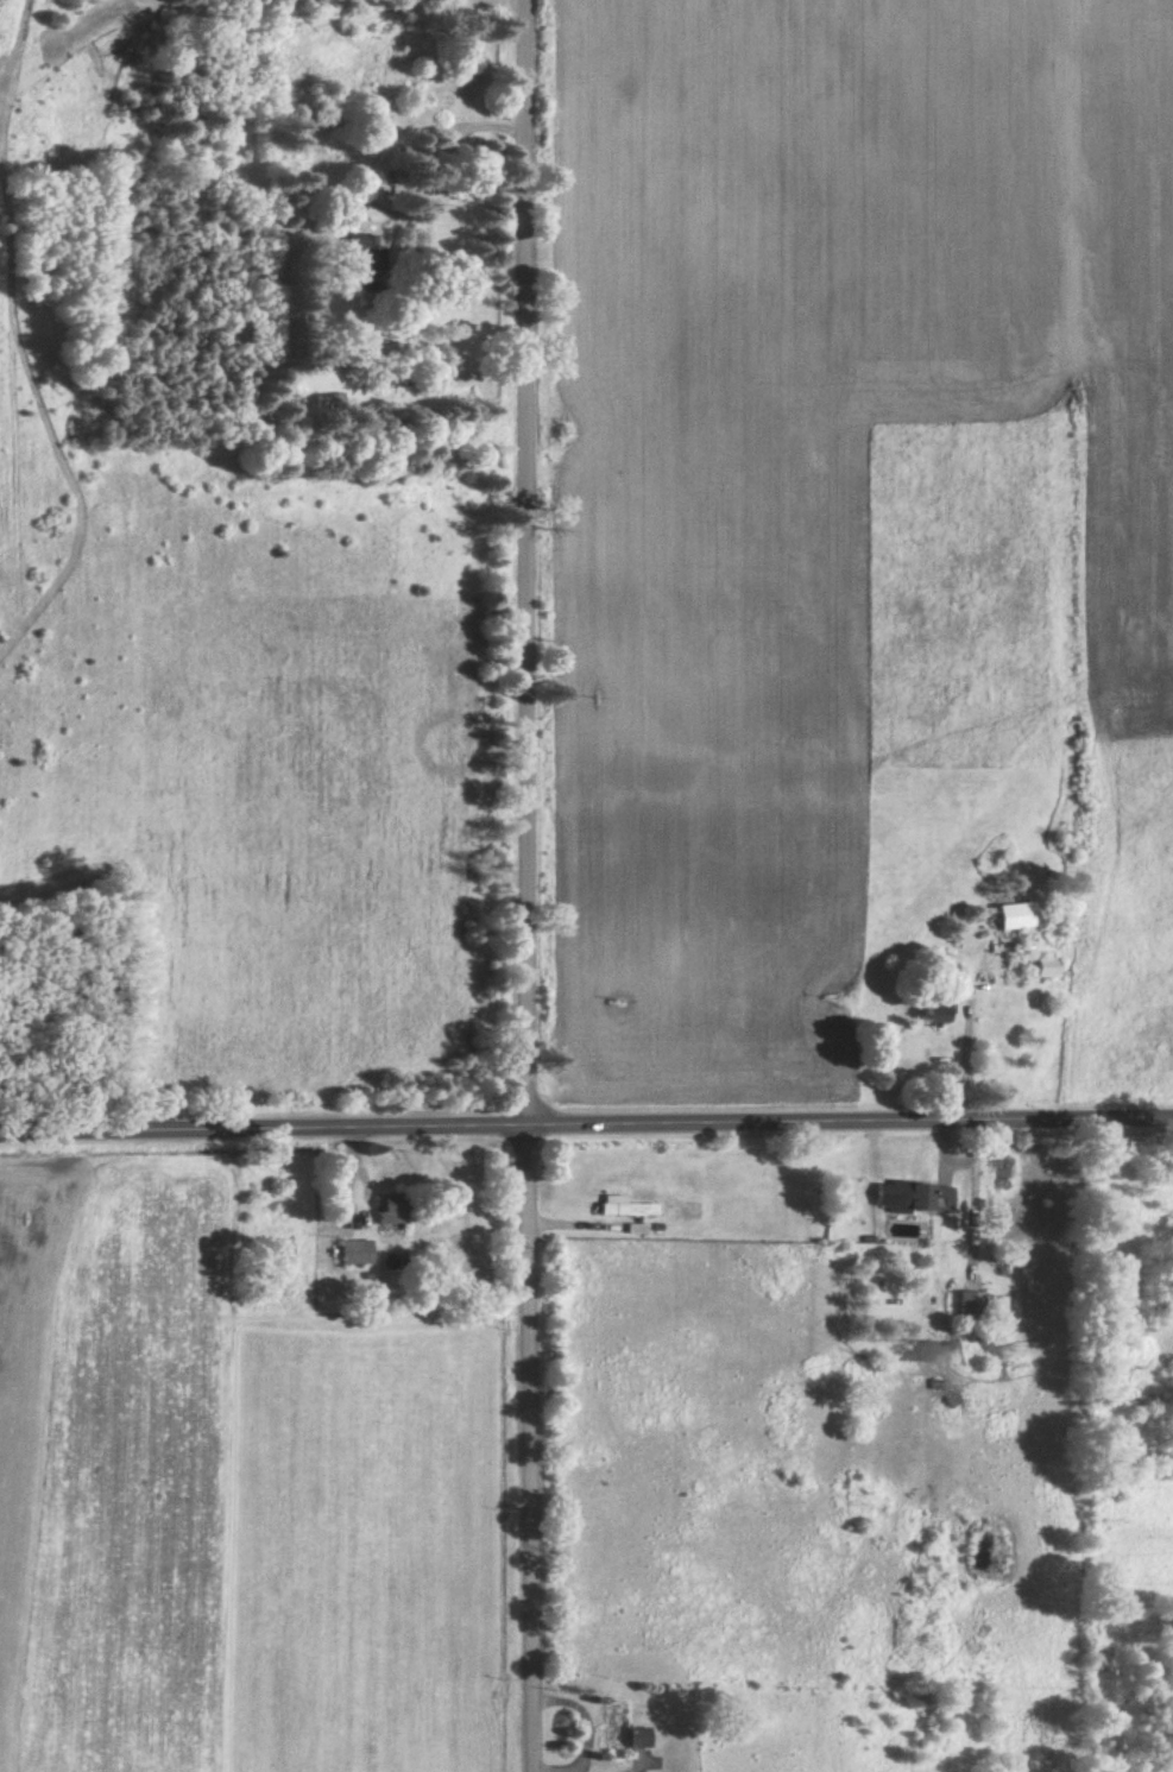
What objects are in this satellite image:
building: (468, 65)
building: (364, 261)
road: (528, 885)
building: (1013, 919)
building: (1045, 970)
building: (934, 1011)
road: (586, 1123)
building: (916, 1199)
building: (390, 1211)
building: (626, 1215)
building: (354, 1254)
building: (970, 1314)
building: (622, 1732)

